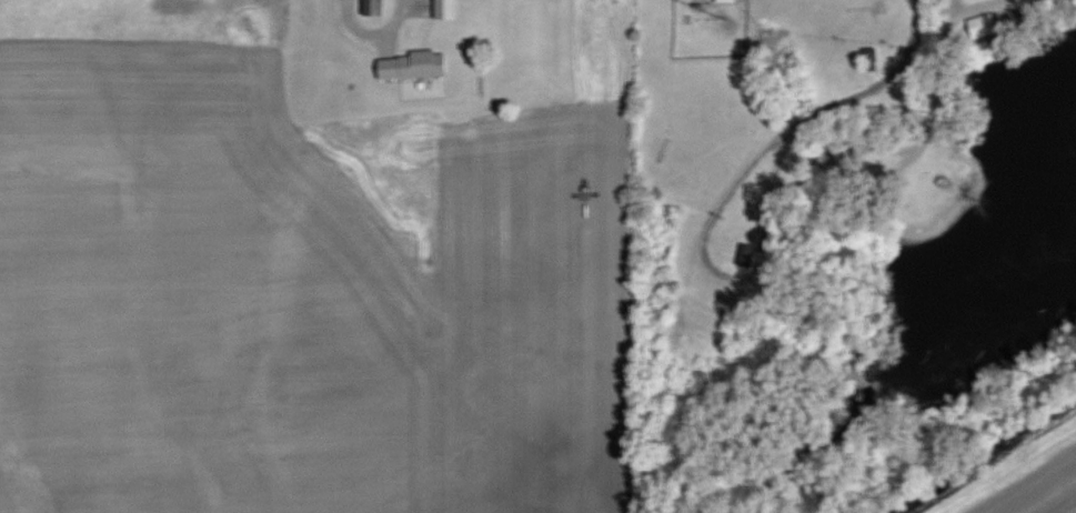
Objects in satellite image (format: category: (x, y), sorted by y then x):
building: (727, 1)
building: (375, 8)
road: (364, 40)
building: (874, 59)
building: (346, 80)

